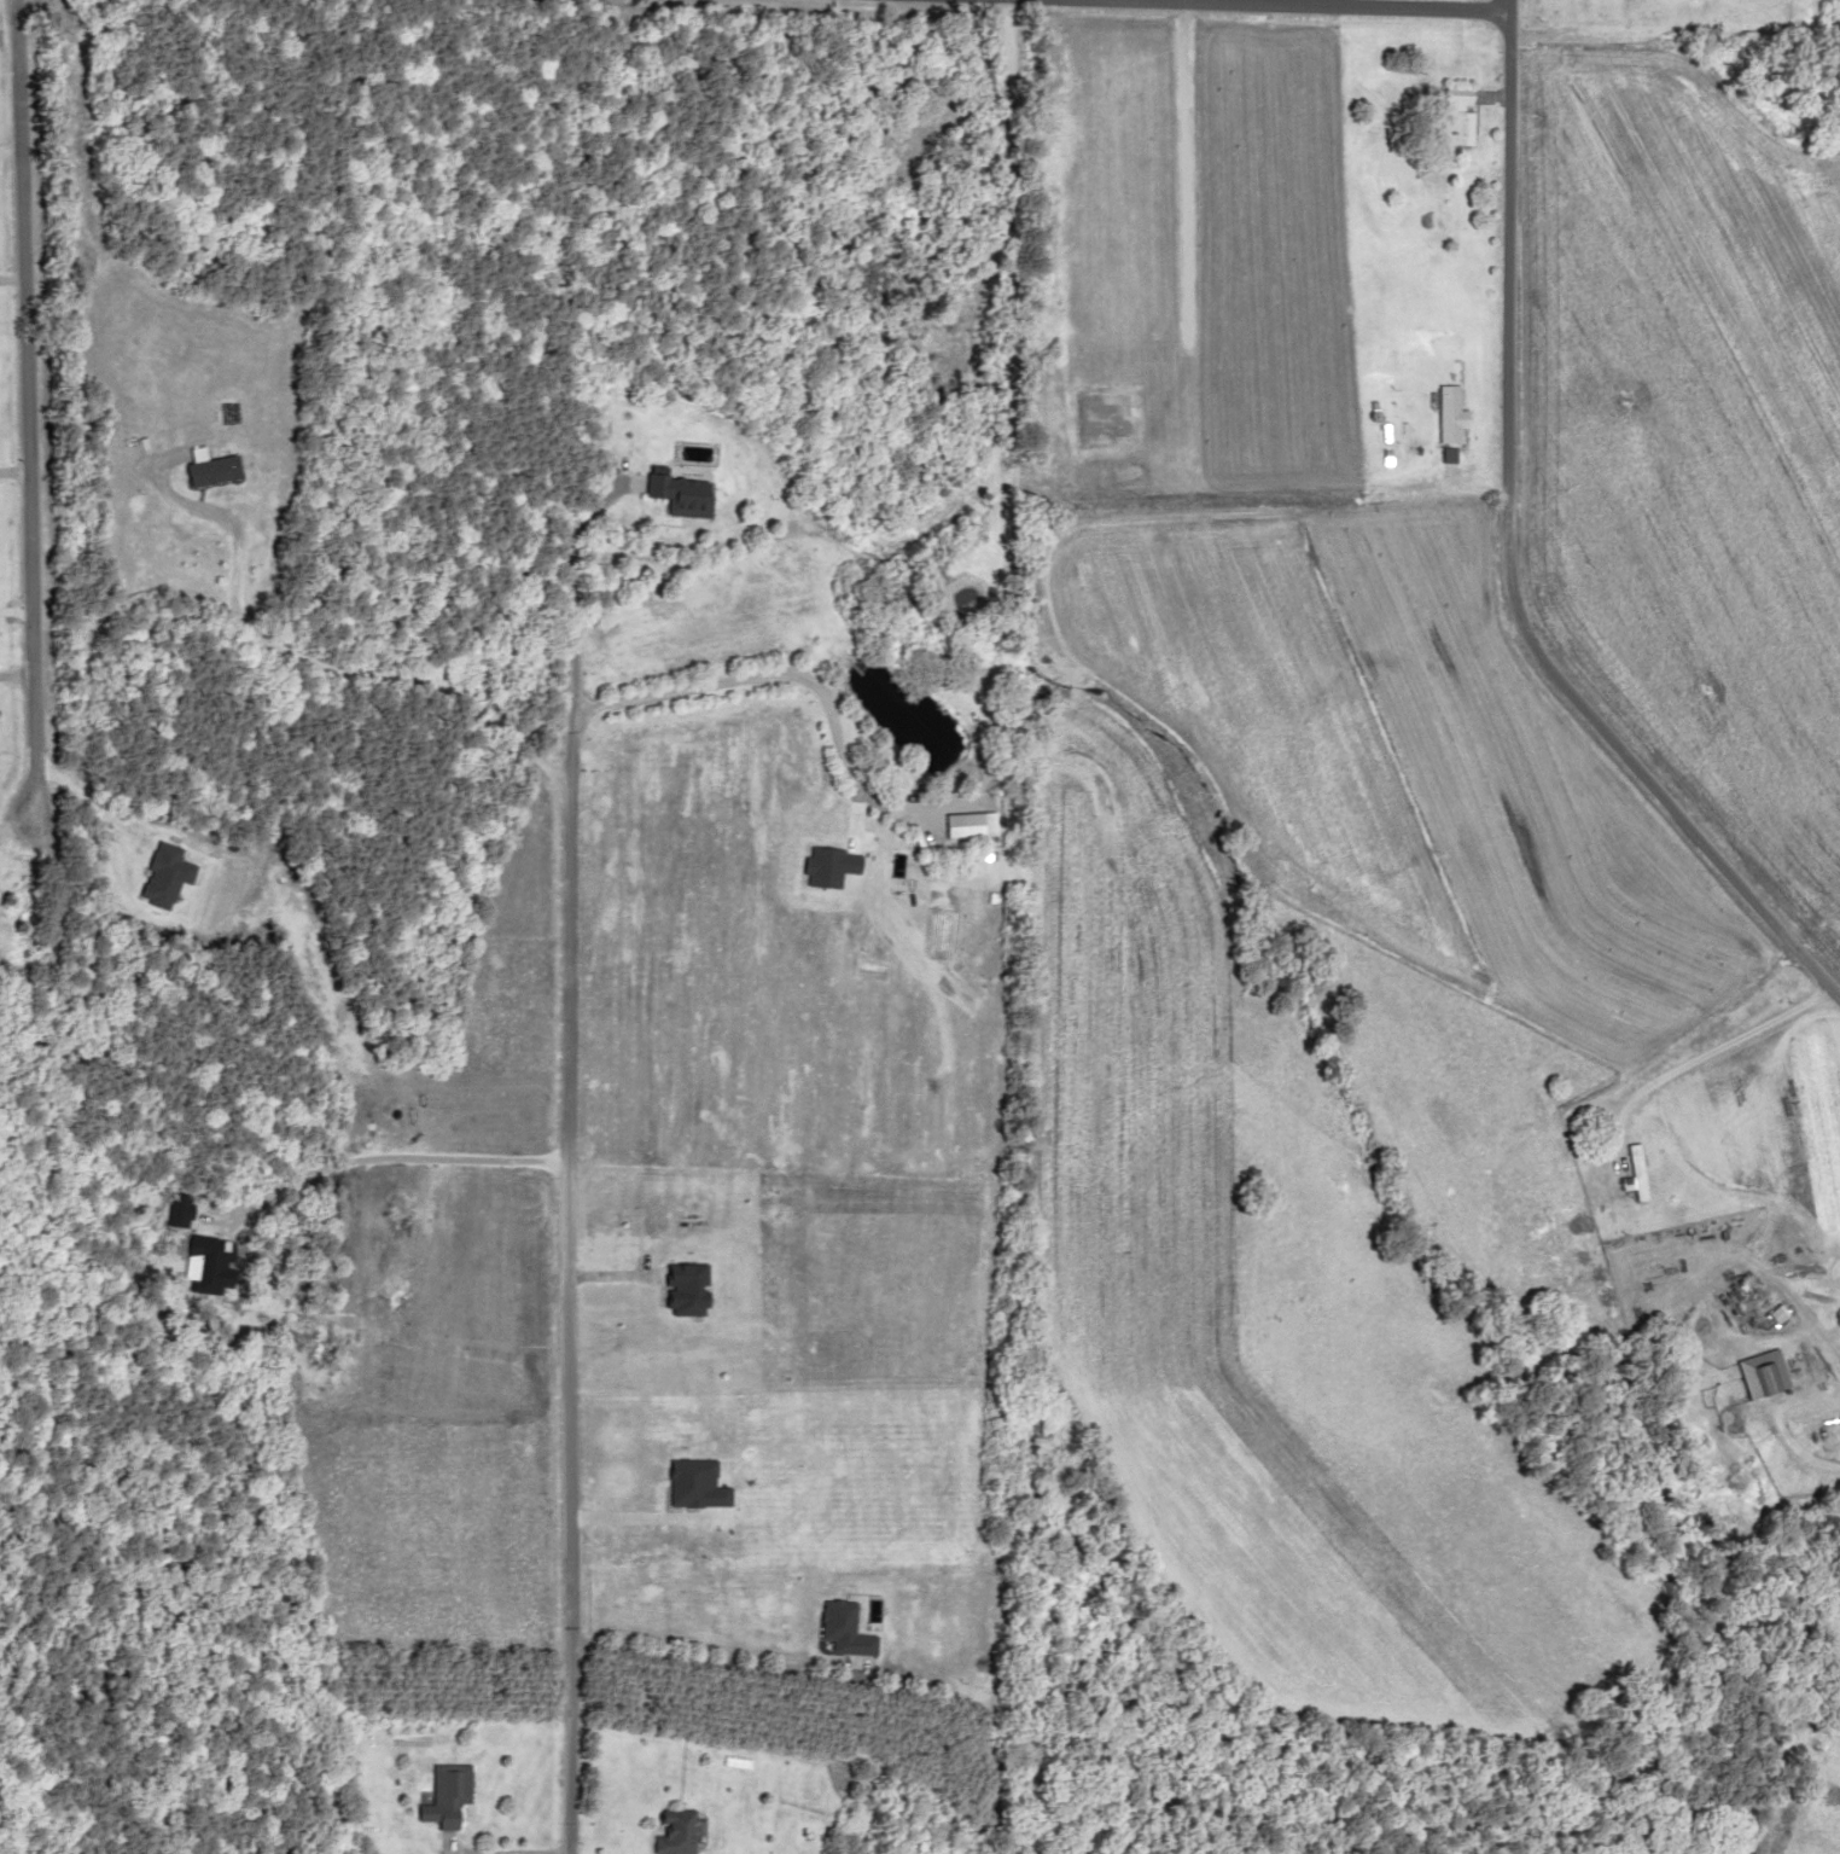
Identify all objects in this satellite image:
building: (1650, 5)
building: (1454, 118)
building: (1439, 412)
building: (676, 494)
road: (1526, 537)
building: (954, 825)
building: (1628, 1172)
building: (442, 1794)
building: (672, 1831)

